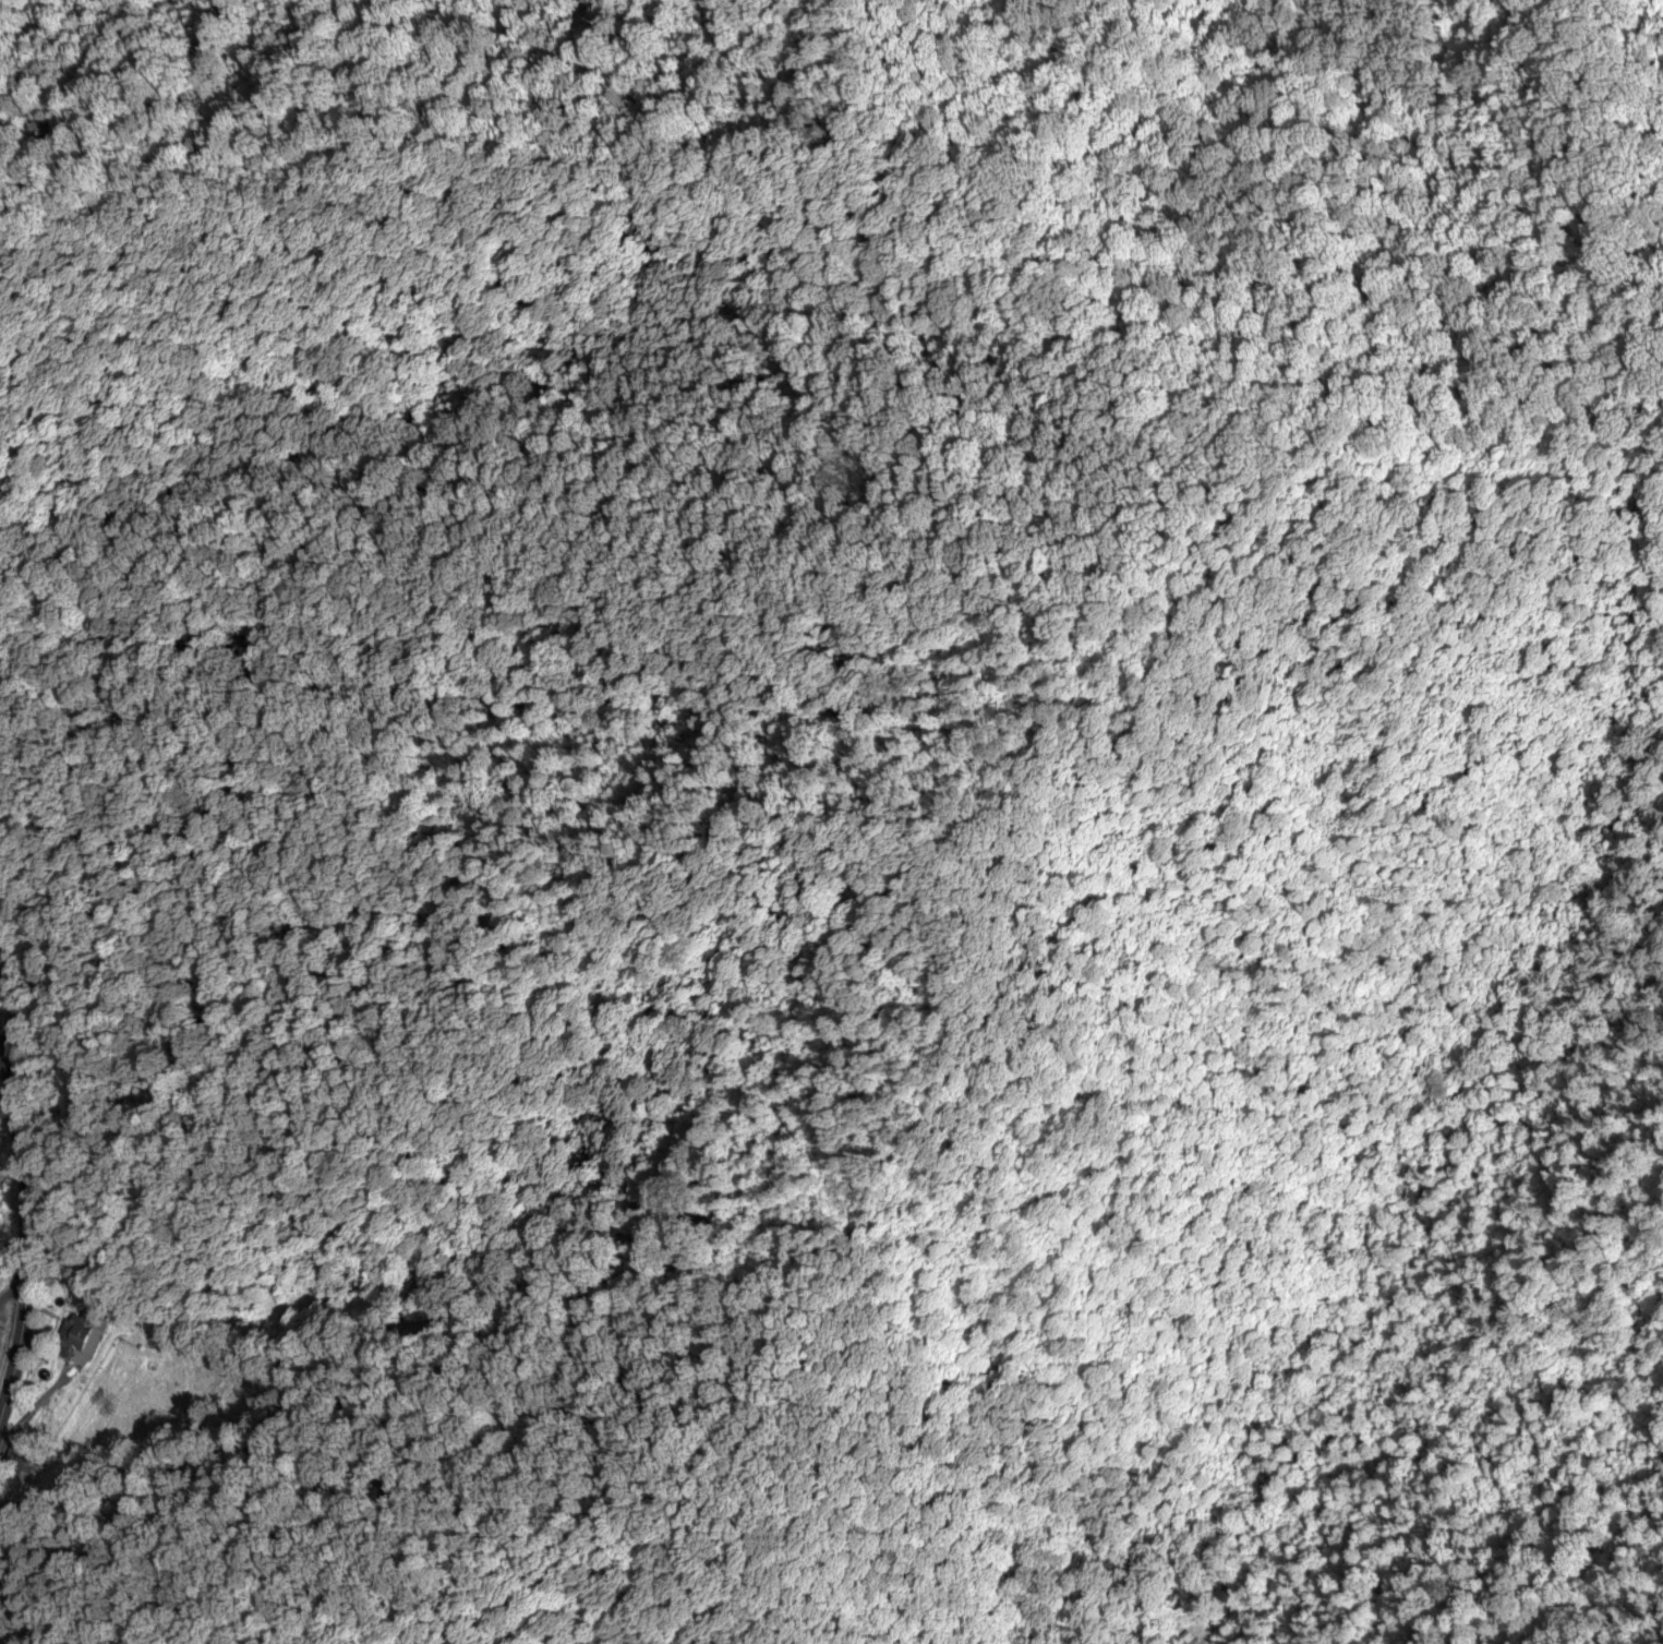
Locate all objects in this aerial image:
road: (27, 1229)
road: (12, 1289)
building: (164, 1332)
building: (82, 1335)
building: (152, 1366)
building: (22, 1472)
building: (1186, 1636)

